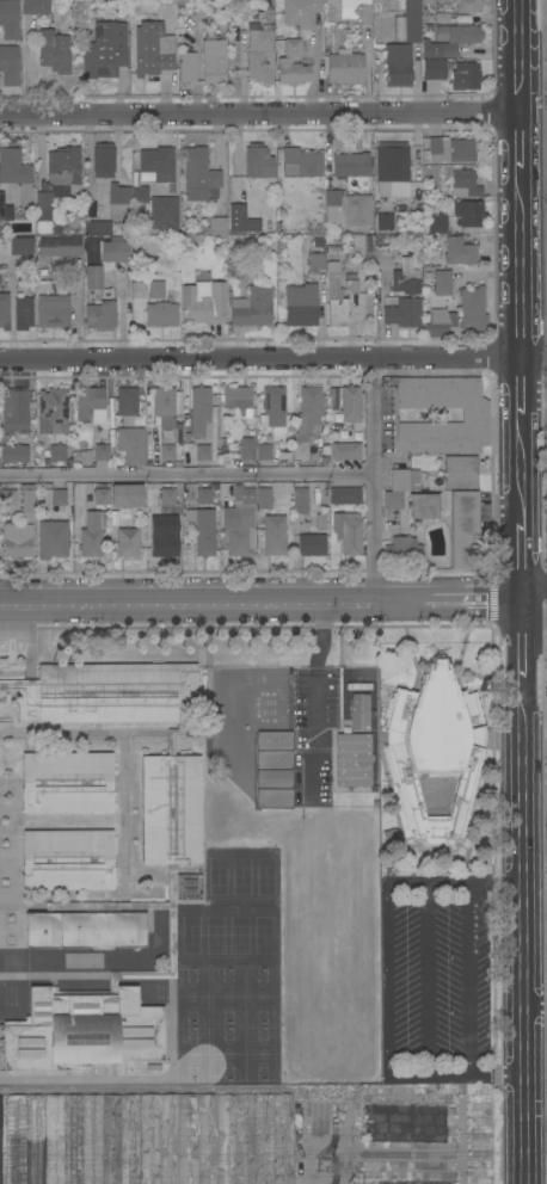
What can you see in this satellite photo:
building: (428, 0)
building: (465, 6)
building: (36, 7)
building: (356, 11)
building: (300, 12)
building: (436, 18)
building: (10, 19)
building: (408, 23)
building: (242, 35)
building: (459, 35)
building: (264, 36)
building: (105, 49)
building: (152, 49)
building: (438, 50)
building: (55, 51)
road: (520, 57)
building: (213, 62)
building: (10, 64)
building: (293, 64)
building: (398, 64)
building: (259, 67)
building: (345, 67)
building: (434, 69)
building: (186, 70)
building: (465, 76)
road: (311, 80)
road: (260, 116)
building: (448, 150)
road: (521, 155)
building: (258, 161)
building: (158, 162)
building: (301, 162)
building: (392, 162)
building: (13, 167)
building: (60, 175)
building: (199, 175)
building: (332, 184)
building: (463, 184)
building: (112, 189)
building: (392, 189)
building: (139, 196)
building: (1, 205)
building: (356, 210)
building: (164, 212)
building: (468, 212)
building: (39, 216)
building: (241, 220)
building: (385, 221)
building: (437, 224)
building: (216, 226)
building: (364, 243)
building: (55, 246)
building: (119, 251)
building: (460, 251)
building: (383, 258)
building: (39, 260)
building: (315, 260)
building: (14, 270)
building: (240, 270)
building: (93, 277)
road: (521, 278)
building: (351, 280)
building: (442, 282)
building: (57, 290)
building: (156, 290)
building: (411, 292)
building: (204, 302)
building: (336, 303)
building: (300, 306)
building: (252, 308)
building: (472, 309)
building: (4, 310)
building: (23, 312)
building: (50, 314)
building: (161, 314)
building: (100, 316)
building: (440, 323)
road: (260, 358)
road: (534, 366)
road: (522, 394)
building: (238, 400)
building: (90, 402)
building: (332, 402)
building: (350, 403)
building: (166, 405)
building: (125, 406)
building: (272, 407)
building: (14, 411)
building: (53, 411)
building: (199, 412)
building: (475, 415)
building: (307, 420)
building: (179, 424)
building: (130, 445)
building: (42, 446)
building: (247, 449)
building: (264, 451)
building: (344, 451)
building: (14, 452)
building: (57, 452)
building: (102, 452)
building: (167, 452)
building: (203, 452)
road: (522, 468)
road: (188, 471)
building: (461, 473)
road: (374, 479)
building: (400, 487)
building: (244, 494)
building: (127, 495)
building: (345, 495)
building: (102, 497)
building: (167, 497)
building: (203, 497)
building: (8, 498)
building: (264, 499)
building: (26, 500)
building: (59, 500)
building: (423, 506)
building: (301, 507)
building: (155, 516)
building: (202, 530)
building: (238, 530)
building: (463, 530)
building: (92, 534)
building: (348, 535)
building: (275, 536)
building: (53, 539)
building: (164, 541)
building: (128, 542)
building: (17, 545)
building: (311, 545)
road: (522, 548)
building: (402, 550)
road: (534, 586)
road: (522, 594)
road: (262, 599)
road: (535, 623)
road: (523, 642)
building: (354, 680)
road: (314, 695)
building: (296, 701)
building: (358, 711)
building: (234, 728)
parking lot: (314, 728)
building: (273, 740)
building: (436, 750)
building: (273, 759)
building: (354, 760)
building: (273, 778)
building: (66, 782)
building: (273, 797)
building: (67, 859)
park: (242, 876)
road: (455, 881)
building: (172, 883)
road: (523, 933)
park: (228, 936)
parking lot: (436, 976)
road: (472, 976)
road: (389, 978)
road: (428, 978)
road: (535, 1001)
park: (228, 1025)
road: (456, 1072)
building: (402, 1124)
building: (0, 1135)
building: (149, 1139)
power tower: (333, 1165)
building: (410, 1183)

